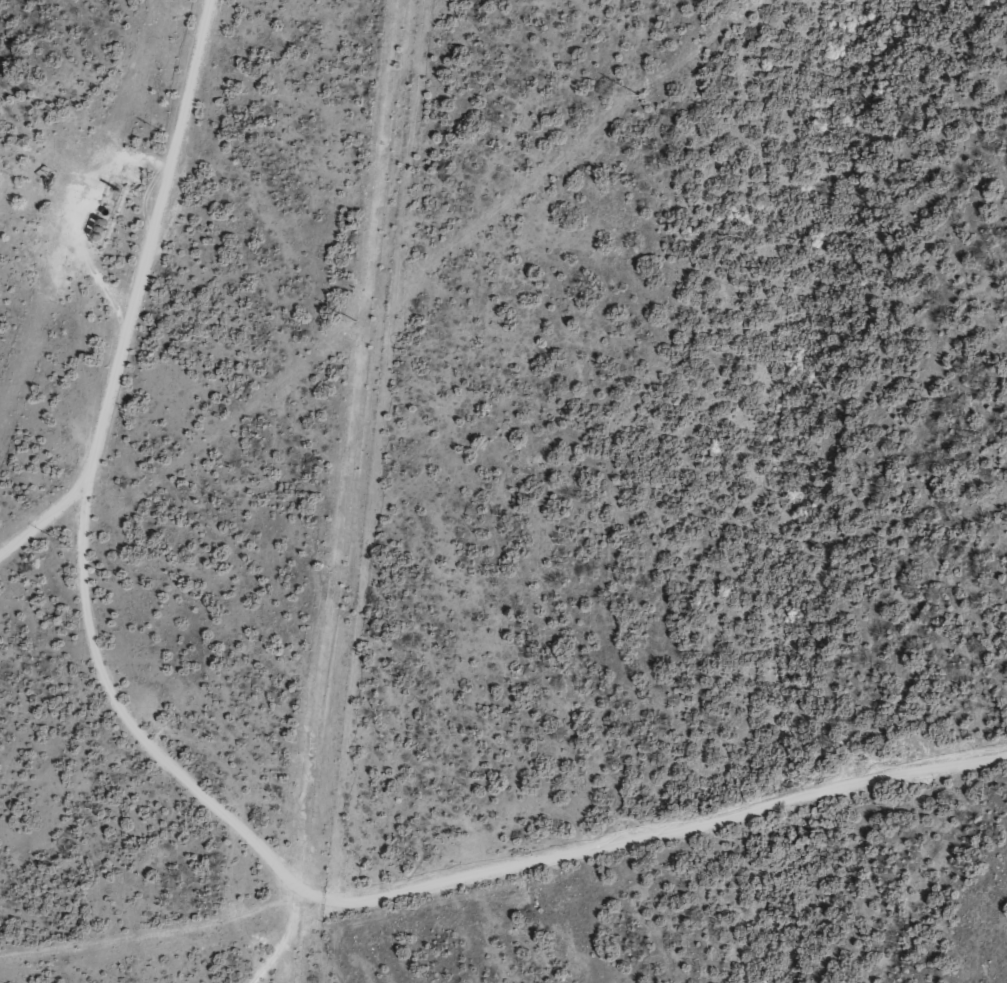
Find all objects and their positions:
power tower: (639, 93)
power tower: (356, 321)
road: (95, 532)
power tower: (74, 548)
road: (684, 850)

